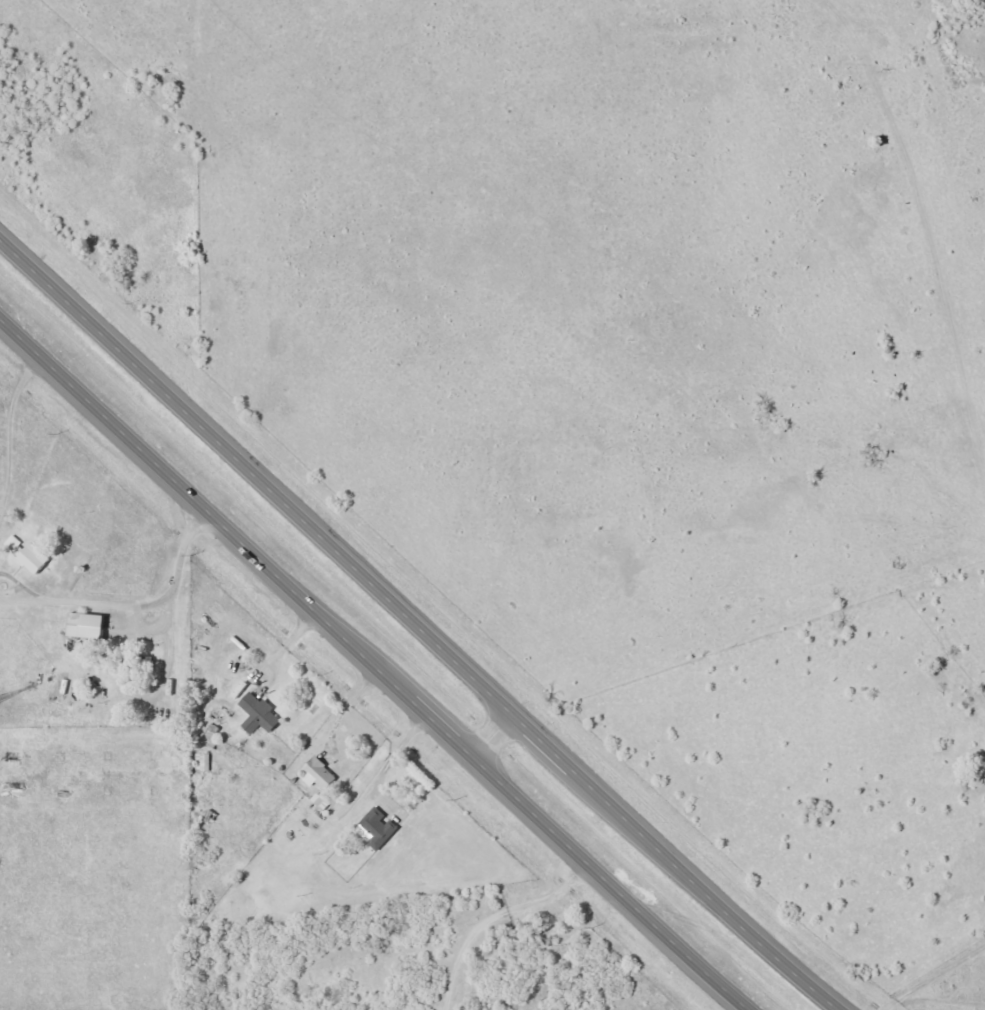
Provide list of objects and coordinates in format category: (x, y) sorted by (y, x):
building: (27, 554)
building: (83, 625)
road: (425, 625)
road: (373, 663)
building: (256, 714)
road: (494, 731)
building: (201, 762)
building: (318, 773)
building: (319, 801)
building: (377, 828)

